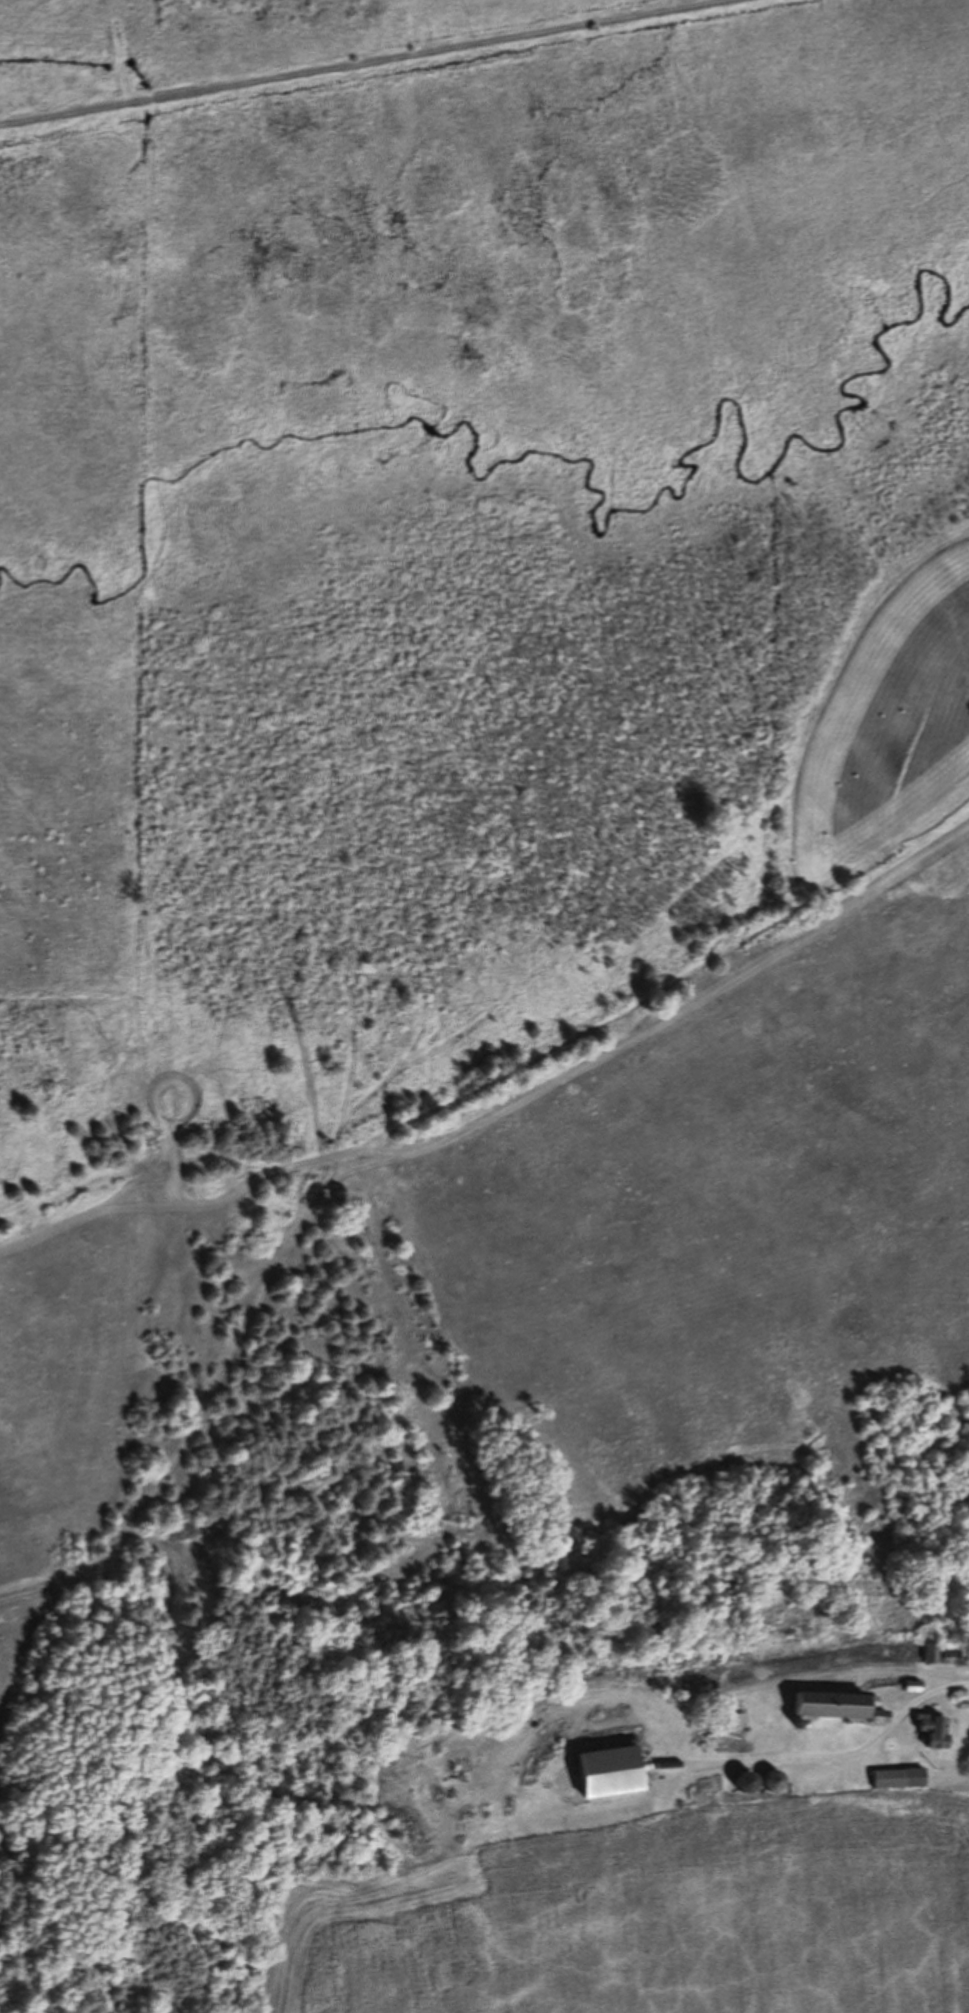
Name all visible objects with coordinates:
building: (829, 1712)
building: (932, 1738)
building: (726, 1751)
building: (610, 1779)
building: (742, 1790)

